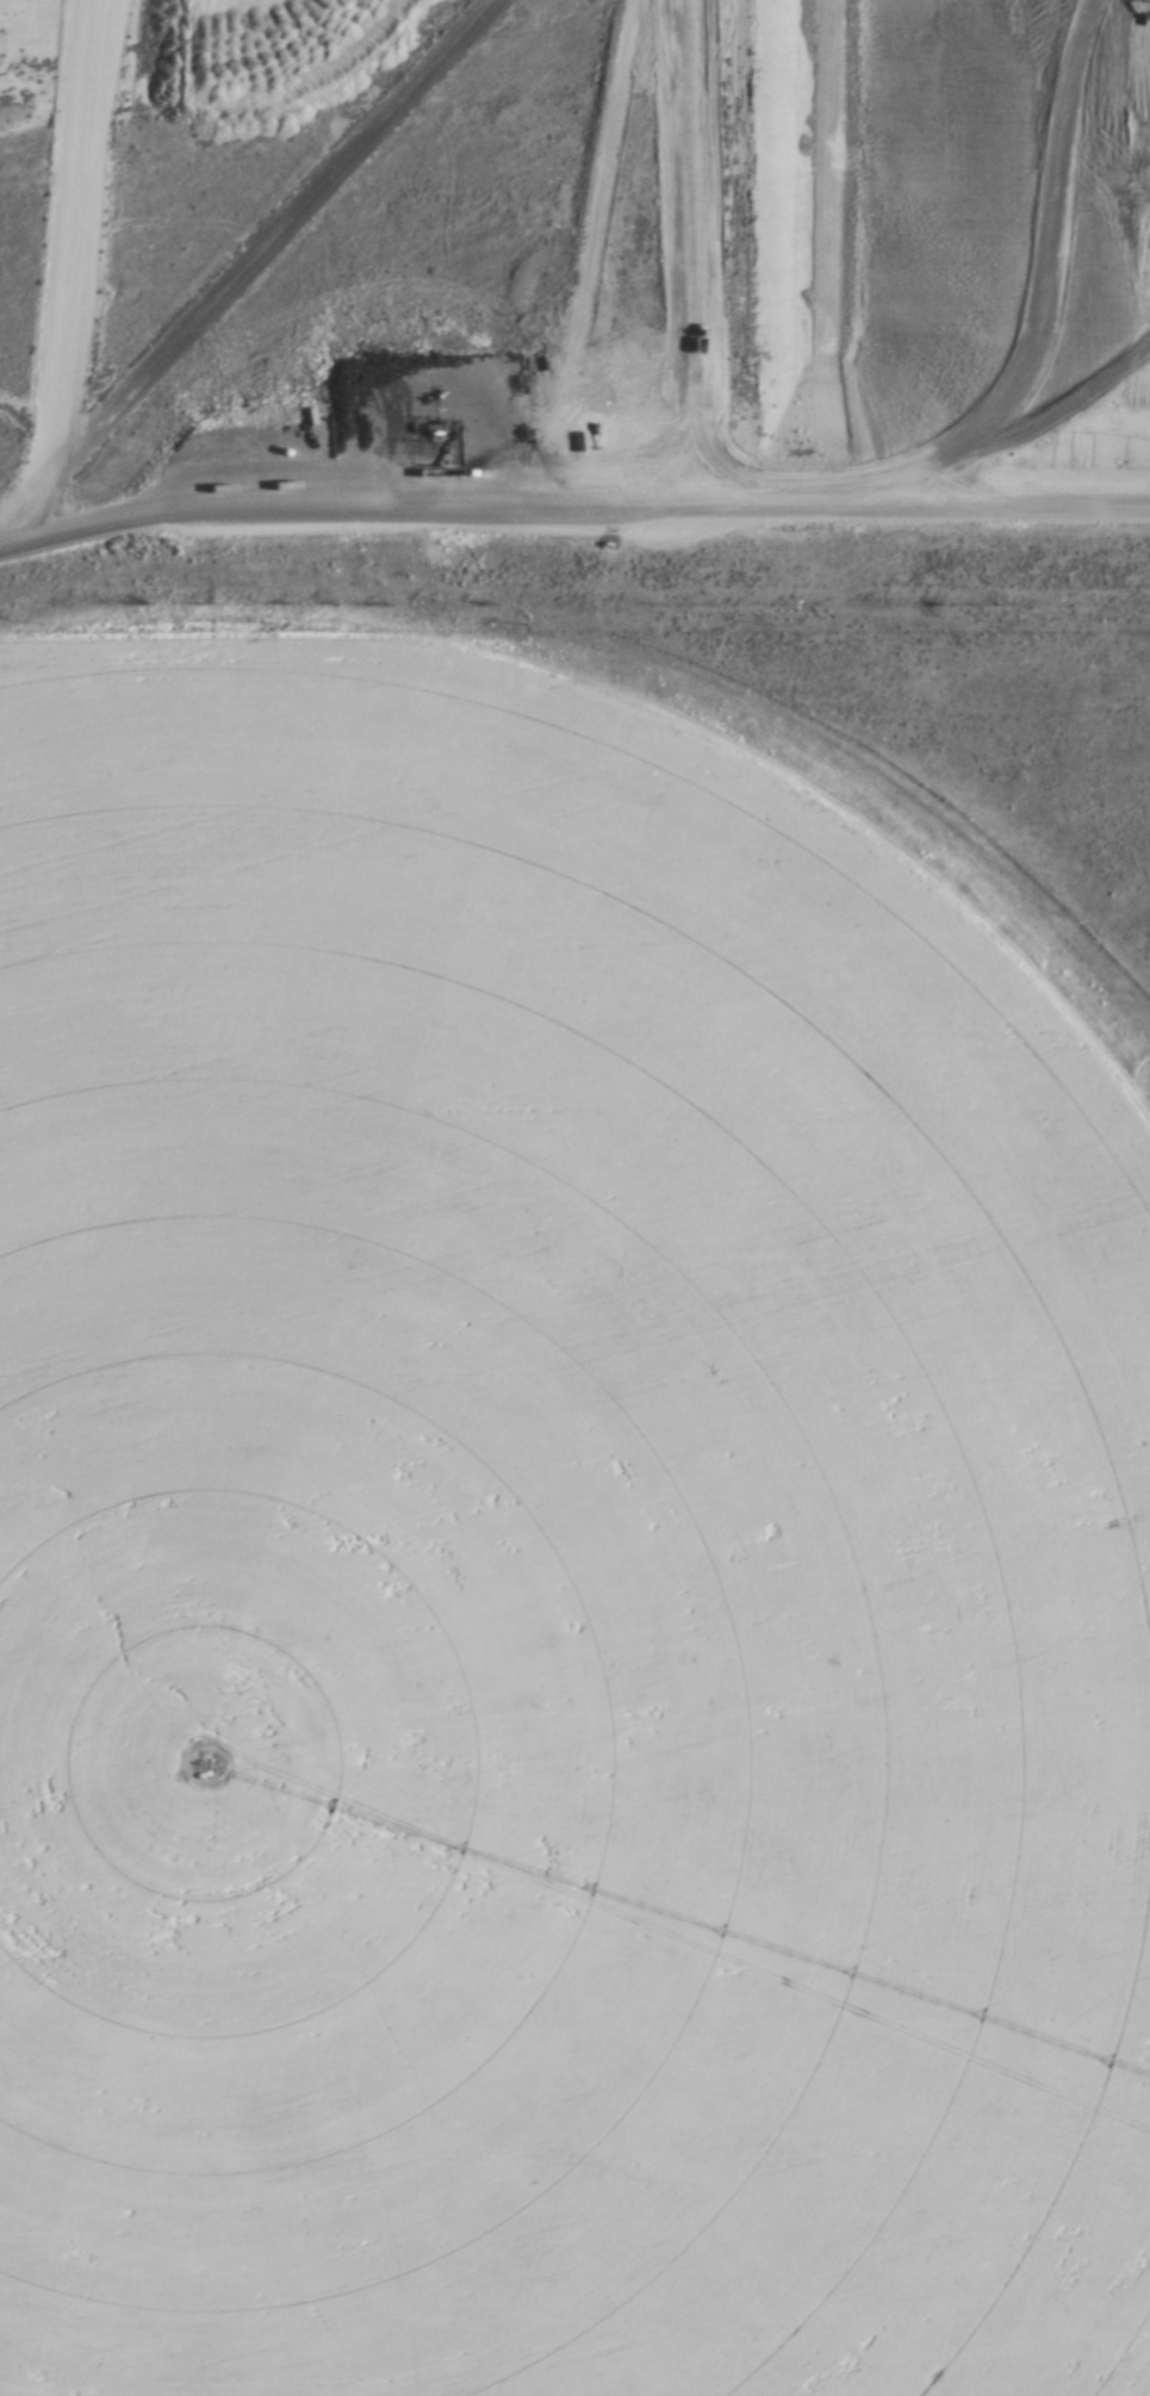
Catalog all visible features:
crop: (551, 1594)

